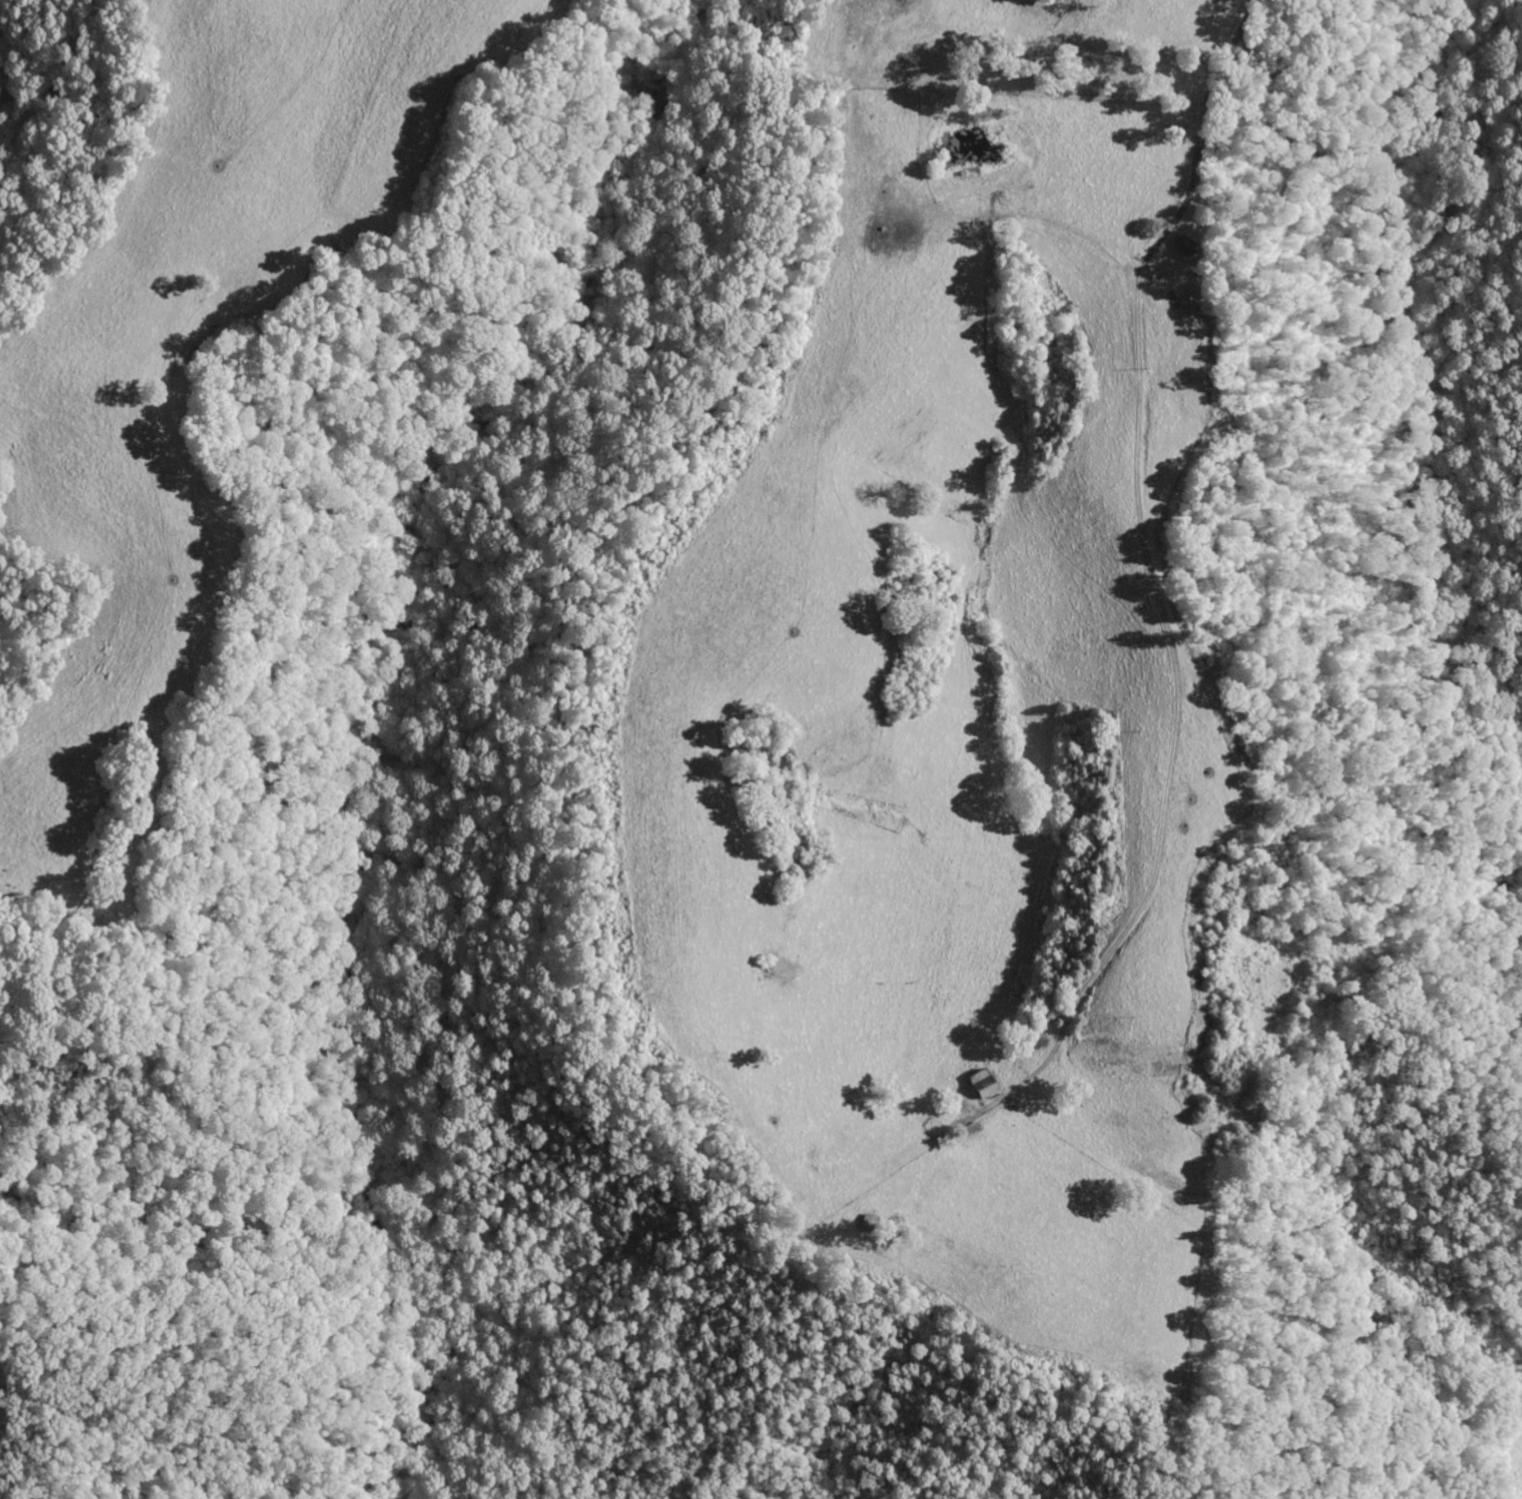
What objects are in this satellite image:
road: (1226, 56)

